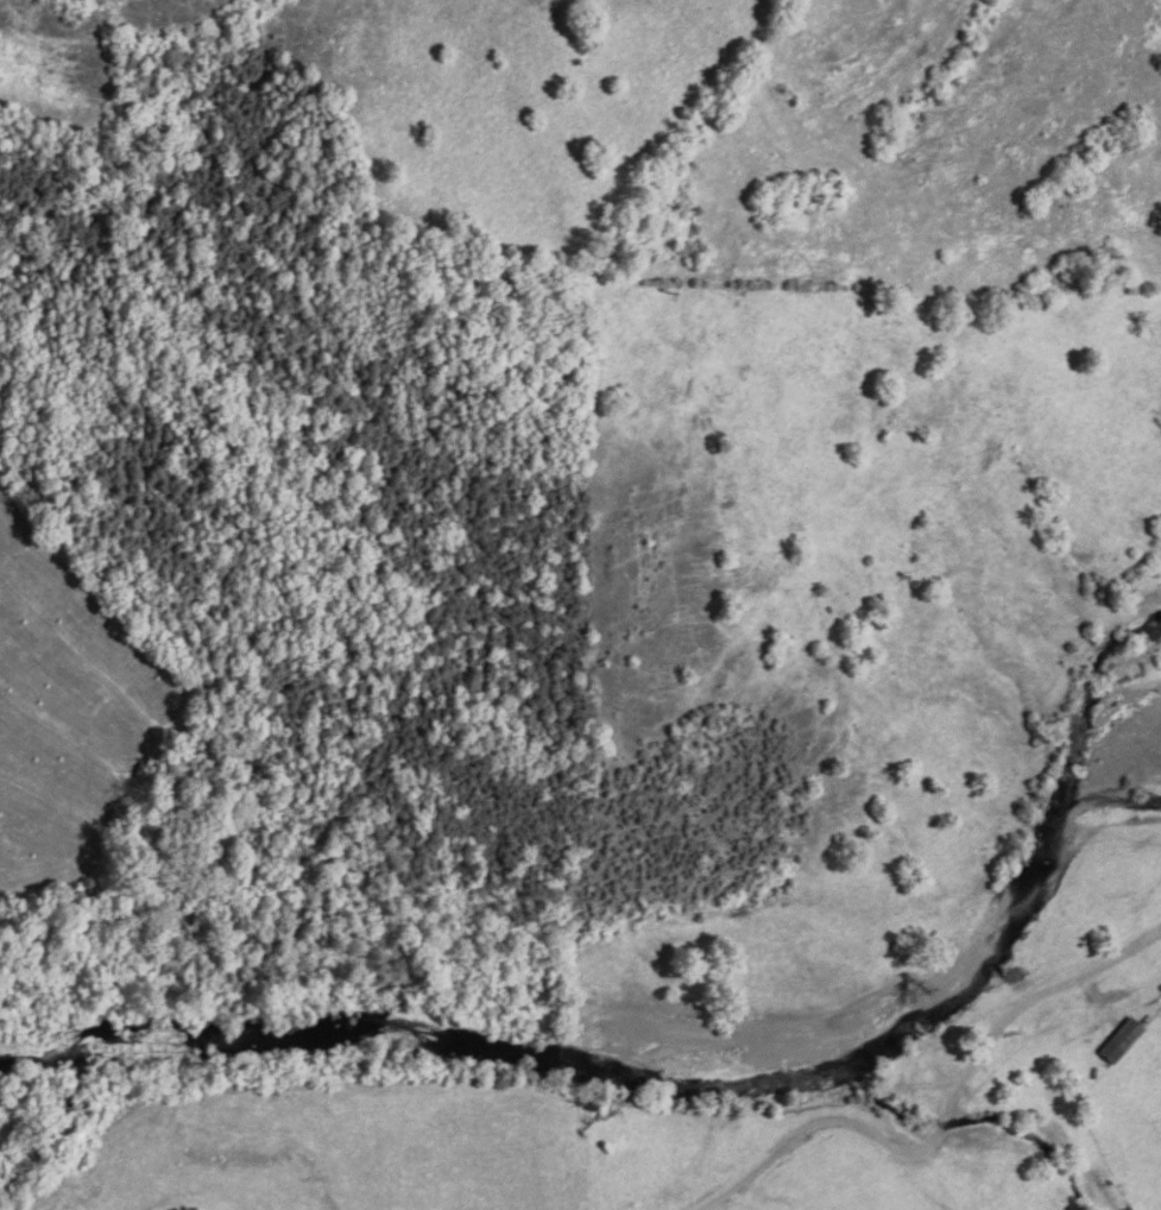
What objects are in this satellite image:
building: (1124, 1040)
road: (959, 1086)

